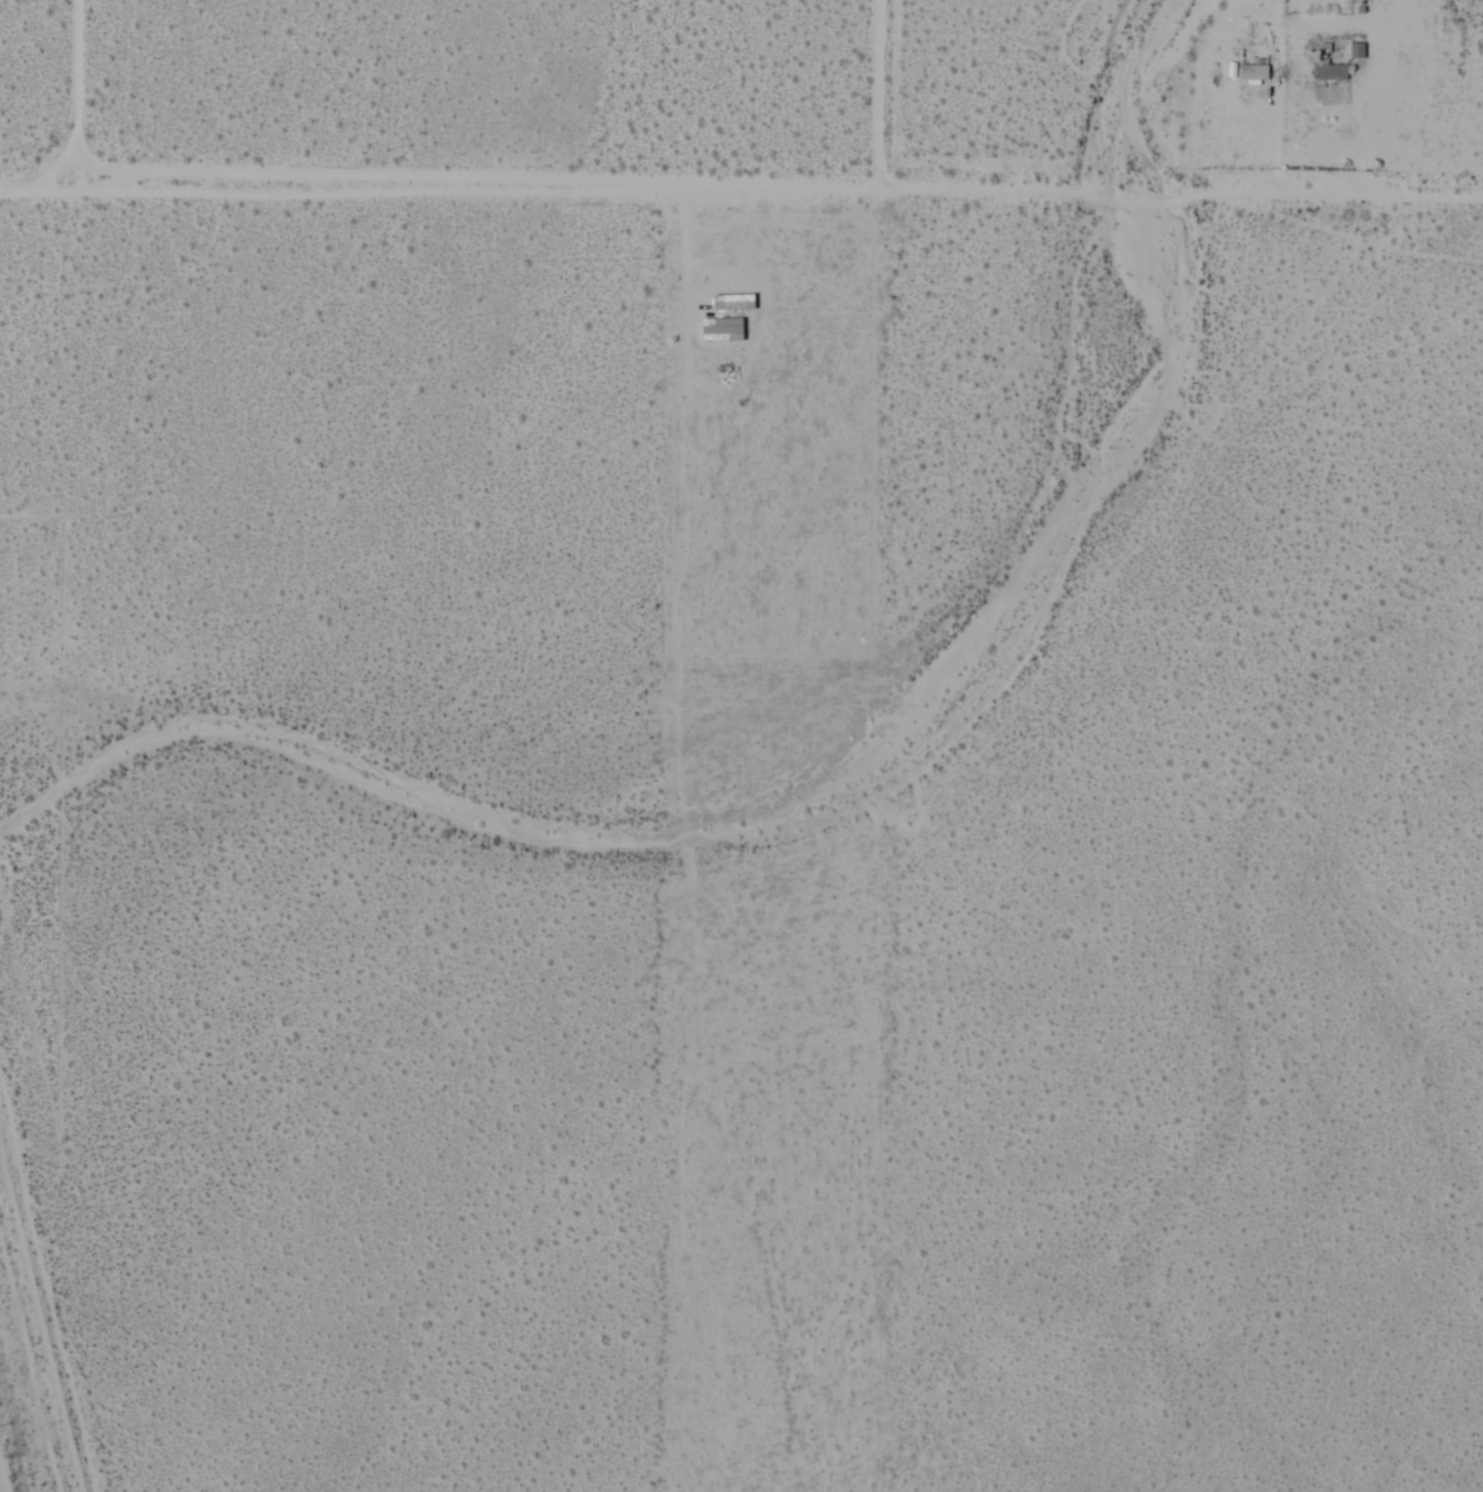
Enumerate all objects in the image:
building: (1357, 51)
building: (1331, 74)
building: (1254, 75)
road: (78, 85)
road: (880, 93)
road: (1182, 163)
road: (738, 185)
building: (734, 302)
building: (722, 330)

